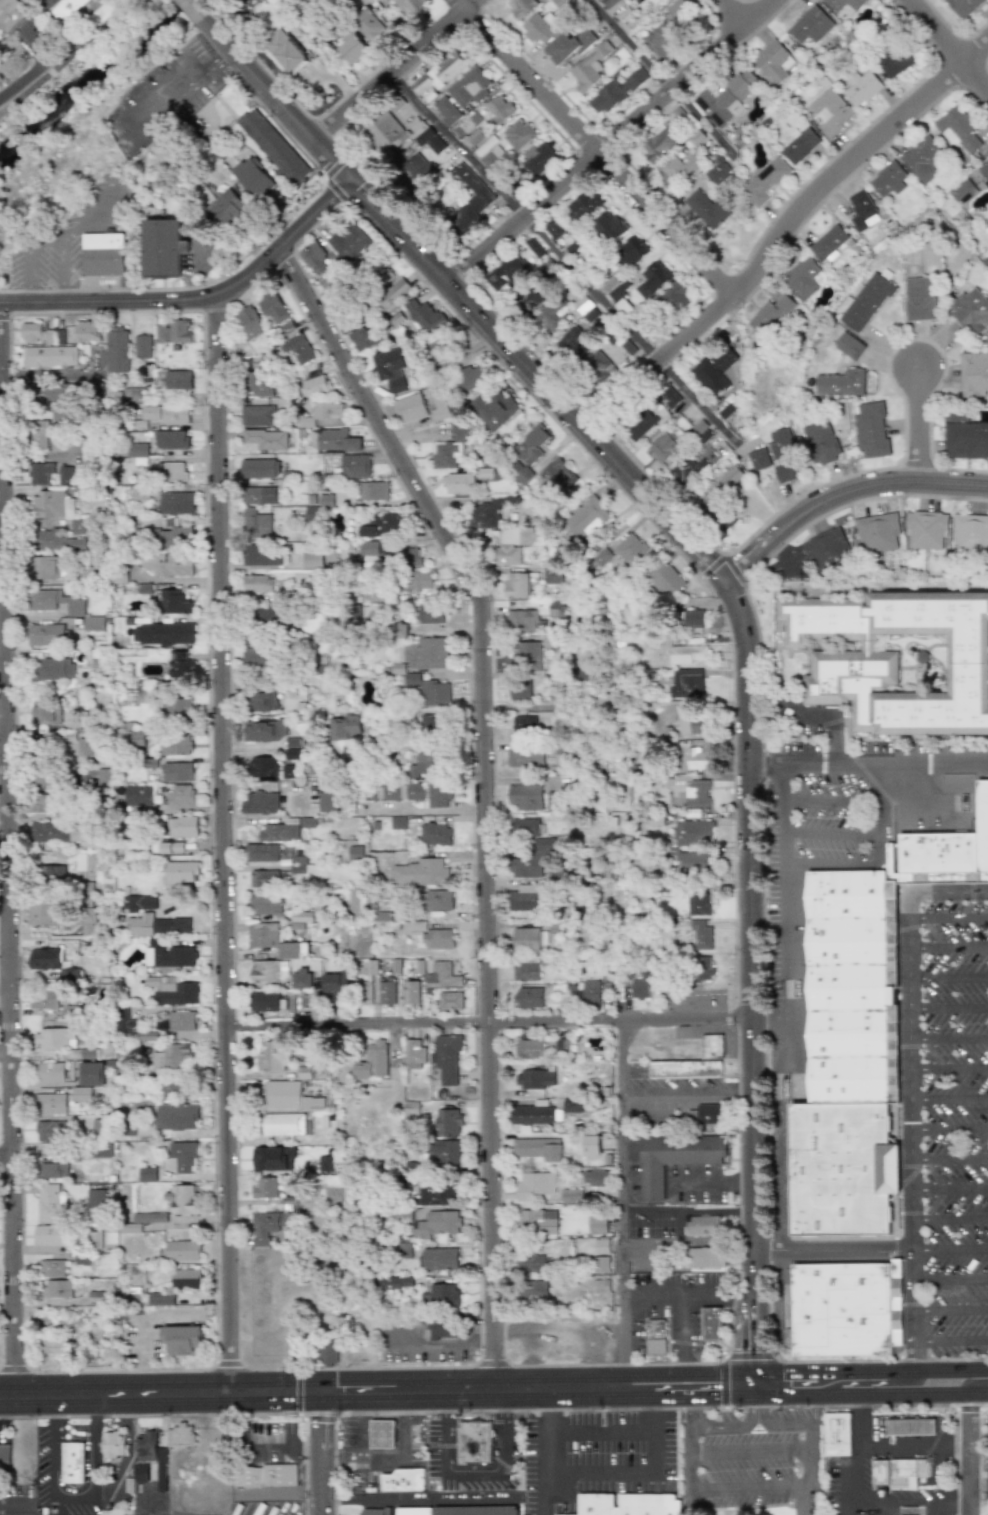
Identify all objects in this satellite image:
building: (844, 4)
building: (408, 6)
building: (520, 6)
building: (962, 6)
building: (66, 9)
road: (194, 9)
building: (676, 9)
road: (734, 13)
building: (11, 14)
building: (810, 25)
building: (368, 26)
building: (536, 29)
road: (89, 35)
building: (661, 40)
road: (949, 44)
building: (351, 47)
building: (568, 47)
building: (286, 52)
building: (895, 61)
building: (774, 62)
building: (589, 67)
road: (395, 69)
river: (86, 76)
road: (657, 76)
road: (17, 83)
building: (468, 86)
building: (861, 87)
road: (180, 89)
road: (25, 90)
building: (616, 91)
building: (427, 96)
building: (723, 100)
building: (499, 108)
building: (446, 110)
building: (831, 112)
building: (957, 129)
building: (385, 132)
building: (517, 134)
building: (474, 137)
building: (430, 141)
road: (611, 142)
building: (657, 144)
building: (484, 145)
building: (273, 146)
building: (800, 146)
road: (594, 148)
building: (537, 157)
building: (921, 159)
building: (487, 160)
building: (416, 169)
building: (672, 170)
building: (984, 170)
building: (718, 173)
building: (252, 177)
building: (887, 179)
building: (764, 182)
building: (960, 189)
building: (467, 202)
building: (582, 207)
building: (224, 208)
building: (707, 209)
building: (862, 211)
building: (608, 227)
building: (553, 229)
road: (782, 232)
building: (351, 242)
building: (828, 242)
road: (46, 247)
building: (631, 250)
building: (165, 251)
road: (557, 251)
building: (106, 257)
building: (315, 258)
building: (516, 265)
road: (61, 274)
building: (804, 278)
building: (652, 279)
building: (530, 298)
building: (674, 298)
building: (919, 299)
road: (198, 300)
building: (865, 301)
building: (271, 307)
building: (585, 309)
building: (970, 311)
building: (424, 316)
building: (770, 316)
building: (551, 319)
building: (248, 322)
building: (285, 330)
building: (86, 332)
building: (173, 332)
building: (36, 333)
building: (59, 337)
building: (364, 339)
building: (574, 344)
building: (848, 346)
building: (142, 347)
building: (298, 349)
building: (116, 350)
building: (49, 356)
building: (723, 359)
building: (599, 366)
building: (389, 369)
building: (973, 374)
building: (709, 377)
building: (469, 378)
building: (177, 380)
building: (841, 383)
building: (259, 384)
building: (314, 386)
building: (45, 393)
building: (131, 395)
building: (410, 408)
building: (321, 413)
building: (164, 414)
building: (256, 416)
building: (640, 425)
road: (920, 426)
building: (870, 429)
building: (459, 431)
building: (38, 435)
building: (964, 437)
building: (265, 439)
building: (170, 440)
building: (332, 440)
building: (821, 442)
building: (531, 446)
building: (663, 446)
building: (137, 453)
building: (783, 455)
building: (758, 459)
building: (259, 468)
building: (686, 470)
building: (170, 472)
building: (38, 473)
building: (559, 474)
building: (65, 475)
building: (458, 484)
building: (719, 488)
building: (372, 491)
building: (140, 492)
road: (843, 493)
building: (259, 495)
building: (326, 500)
building: (176, 503)
building: (50, 505)
building: (486, 513)
building: (312, 514)
building: (587, 518)
building: (255, 524)
building: (380, 524)
building: (77, 527)
building: (925, 529)
building: (970, 533)
building: (877, 534)
building: (169, 537)
building: (54, 541)
building: (512, 545)
building: (631, 551)
building: (824, 551)
building: (370, 553)
road: (783, 554)
building: (261, 555)
building: (411, 557)
building: (312, 560)
building: (167, 565)
building: (44, 568)
building: (553, 575)
building: (665, 579)
building: (417, 581)
building: (256, 584)
building: (517, 585)
road: (732, 590)
building: (56, 601)
building: (173, 602)
building: (430, 614)
building: (268, 615)
building: (693, 618)
building: (522, 621)
building: (92, 624)
building: (162, 634)
building: (45, 635)
building: (426, 653)
building: (897, 653)
building: (689, 654)
building: (526, 656)
building: (90, 658)
building: (256, 658)
building: (179, 665)
building: (51, 669)
building: (686, 682)
building: (429, 691)
building: (519, 691)
building: (140, 697)
building: (261, 702)
building: (176, 709)
building: (44, 712)
road: (832, 716)
building: (430, 723)
building: (523, 724)
building: (344, 728)
building: (264, 731)
building: (139, 739)
building: (292, 742)
building: (175, 745)
building: (84, 747)
building: (291, 754)
building: (525, 758)
building: (697, 760)
road: (869, 764)
building: (424, 765)
building: (262, 766)
building: (287, 771)
building: (177, 772)
building: (102, 778)
building: (414, 791)
building: (390, 792)
road: (485, 792)
building: (438, 794)
building: (697, 794)
building: (137, 795)
building: (180, 797)
building: (524, 797)
parking lot: (844, 797)
road: (816, 799)
building: (326, 802)
building: (259, 803)
building: (37, 804)
road: (434, 810)
road: (879, 813)
building: (306, 822)
building: (397, 822)
building: (181, 827)
building: (525, 827)
road: (831, 832)
building: (693, 833)
building: (62, 834)
building: (984, 834)
building: (434, 835)
building: (545, 844)
road: (224, 845)
building: (170, 848)
road: (7, 849)
building: (261, 853)
building: (355, 853)
building: (693, 861)
building: (942, 861)
road: (831, 864)
building: (525, 867)
road: (783, 868)
building: (181, 872)
building: (420, 873)
building: (50, 875)
building: (263, 878)
road: (948, 894)
building: (438, 900)
building: (526, 900)
building: (138, 903)
building: (266, 904)
building: (698, 904)
building: (44, 914)
building: (380, 917)
road: (949, 917)
building: (299, 919)
building: (87, 920)
building: (155, 926)
building: (701, 934)
building: (262, 935)
building: (429, 935)
building: (528, 940)
road: (949, 947)
building: (293, 950)
building: (169, 957)
building: (52, 964)
building: (371, 967)
building: (701, 968)
building: (265, 971)
building: (526, 971)
building: (441, 976)
road: (949, 978)
building: (300, 979)
building: (335, 987)
building: (640, 987)
building: (171, 991)
building: (386, 992)
building: (364, 993)
building: (410, 993)
building: (591, 993)
building: (856, 993)
building: (528, 998)
building: (43, 1000)
building: (264, 1001)
building: (449, 1001)
road: (949, 1007)
road: (786, 1013)
building: (182, 1021)
road: (490, 1021)
building: (125, 1024)
road: (949, 1037)
building: (54, 1039)
road: (786, 1043)
building: (529, 1049)
building: (413, 1055)
building: (171, 1056)
building: (273, 1056)
building: (446, 1058)
building: (372, 1062)
building: (693, 1062)
road: (950, 1066)
building: (50, 1072)
building: (91, 1074)
building: (534, 1079)
building: (177, 1089)
road: (738, 1091)
road: (675, 1093)
building: (82, 1094)
road: (624, 1095)
building: (288, 1097)
road: (950, 1099)
road: (912, 1101)
building: (49, 1104)
building: (571, 1105)
building: (409, 1108)
building: (705, 1114)
building: (176, 1117)
parking lot: (946, 1121)
building: (448, 1122)
building: (283, 1124)
road: (950, 1129)
building: (50, 1131)
building: (590, 1146)
building: (537, 1149)
building: (443, 1151)
road: (6, 1155)
building: (180, 1157)
road: (950, 1157)
building: (673, 1158)
building: (272, 1159)
building: (325, 1164)
building: (53, 1169)
building: (147, 1174)
building: (848, 1175)
building: (593, 1178)
building: (533, 1185)
building: (264, 1188)
road: (950, 1188)
building: (435, 1193)
building: (571, 1196)
building: (96, 1199)
road: (620, 1200)
building: (182, 1201)
building: (49, 1204)
road: (688, 1211)
building: (150, 1218)
road: (951, 1219)
building: (537, 1221)
building: (437, 1224)
building: (596, 1225)
building: (701, 1226)
building: (263, 1228)
building: (48, 1236)
building: (95, 1240)
building: (601, 1246)
road: (951, 1249)
building: (403, 1250)
road: (835, 1250)
building: (182, 1251)
building: (705, 1257)
building: (439, 1259)
building: (531, 1263)
building: (600, 1265)
building: (51, 1269)
building: (186, 1278)
road: (951, 1280)
building: (396, 1283)
building: (599, 1286)
building: (57, 1289)
building: (531, 1290)
building: (443, 1295)
road: (690, 1298)
building: (160, 1299)
road: (951, 1308)
building: (845, 1311)
road: (150, 1315)
building: (710, 1324)
road: (915, 1324)
building: (443, 1330)
road: (683, 1333)
building: (655, 1336)
road: (952, 1339)
building: (182, 1340)
building: (53, 1346)
road: (442, 1346)
traffic signals: (758, 1350)
building: (326, 1353)
road: (916, 1353)
road: (952, 1365)
road: (865, 1367)
road: (690, 1368)
traffic signals: (785, 1368)
road: (786, 1368)
road: (758, 1383)
road: (976, 1383)
road: (893, 1385)
road: (491, 1390)
traffic signals: (292, 1392)
road: (307, 1392)
road: (339, 1392)
traffic signals: (344, 1392)
road: (145, 1393)
road: (979, 1394)
road: (659, 1395)
road: (915, 1395)
road: (809, 1396)
traffic signals: (718, 1398)
road: (727, 1398)
road: (549, 1403)
road: (697, 1414)
traffic signals: (764, 1414)
road: (322, 1420)
road: (356, 1424)
traffic signals: (322, 1427)
road: (725, 1427)
building: (910, 1427)
road: (448, 1433)
road: (599, 1433)
building: (381, 1434)
road: (651, 1434)
building: (836, 1434)
building: (179, 1435)
building: (473, 1442)
road: (855, 1444)
building: (114, 1445)
road: (913, 1446)
road: (286, 1449)
road: (322, 1452)
road: (727, 1452)
building: (4, 1453)
road: (970, 1454)
building: (152, 1456)
road: (378, 1456)
road: (503, 1459)
building: (72, 1462)
parking lot: (41, 1463)
road: (547, 1467)
building: (140, 1473)
building: (900, 1473)
building: (263, 1475)
road: (599, 1476)
building: (402, 1480)
road: (808, 1481)
road: (83, 1485)
road: (322, 1485)
road: (979, 1490)
road: (71, 1498)
road: (417, 1500)
road: (695, 1502)
road: (847, 1502)
road: (912, 1503)
parking lot: (88, 1504)
road: (19, 1505)
building: (632, 1505)
road: (393, 1508)
parking lot: (79, 1509)
road: (882, 1509)
building: (476, 1511)
building: (414, 1512)
building: (378, 1513)

